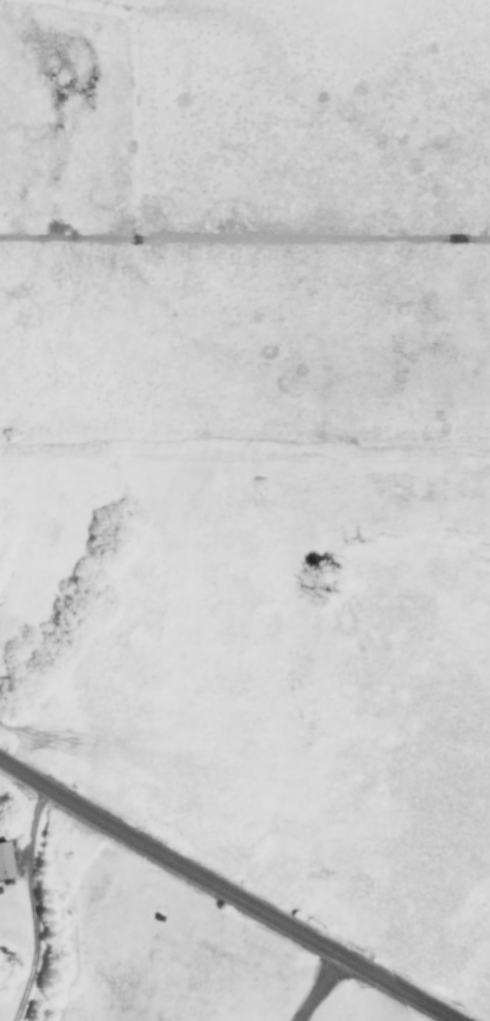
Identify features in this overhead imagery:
crop: (261, 394)
building: (4, 859)
road: (226, 890)
road: (320, 988)

